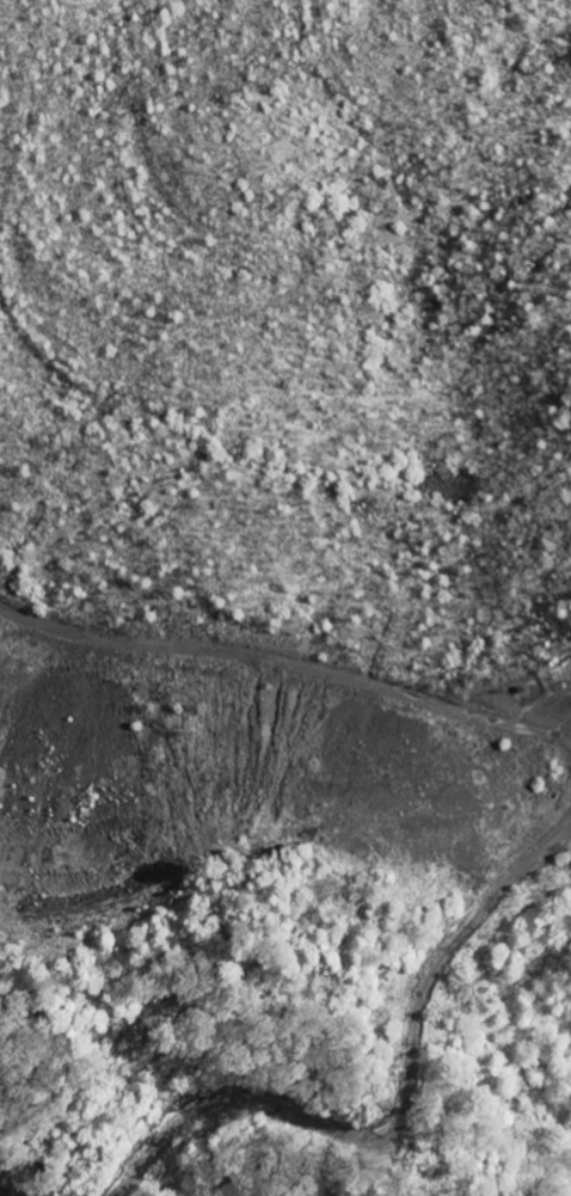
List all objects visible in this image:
road: (283, 668)

